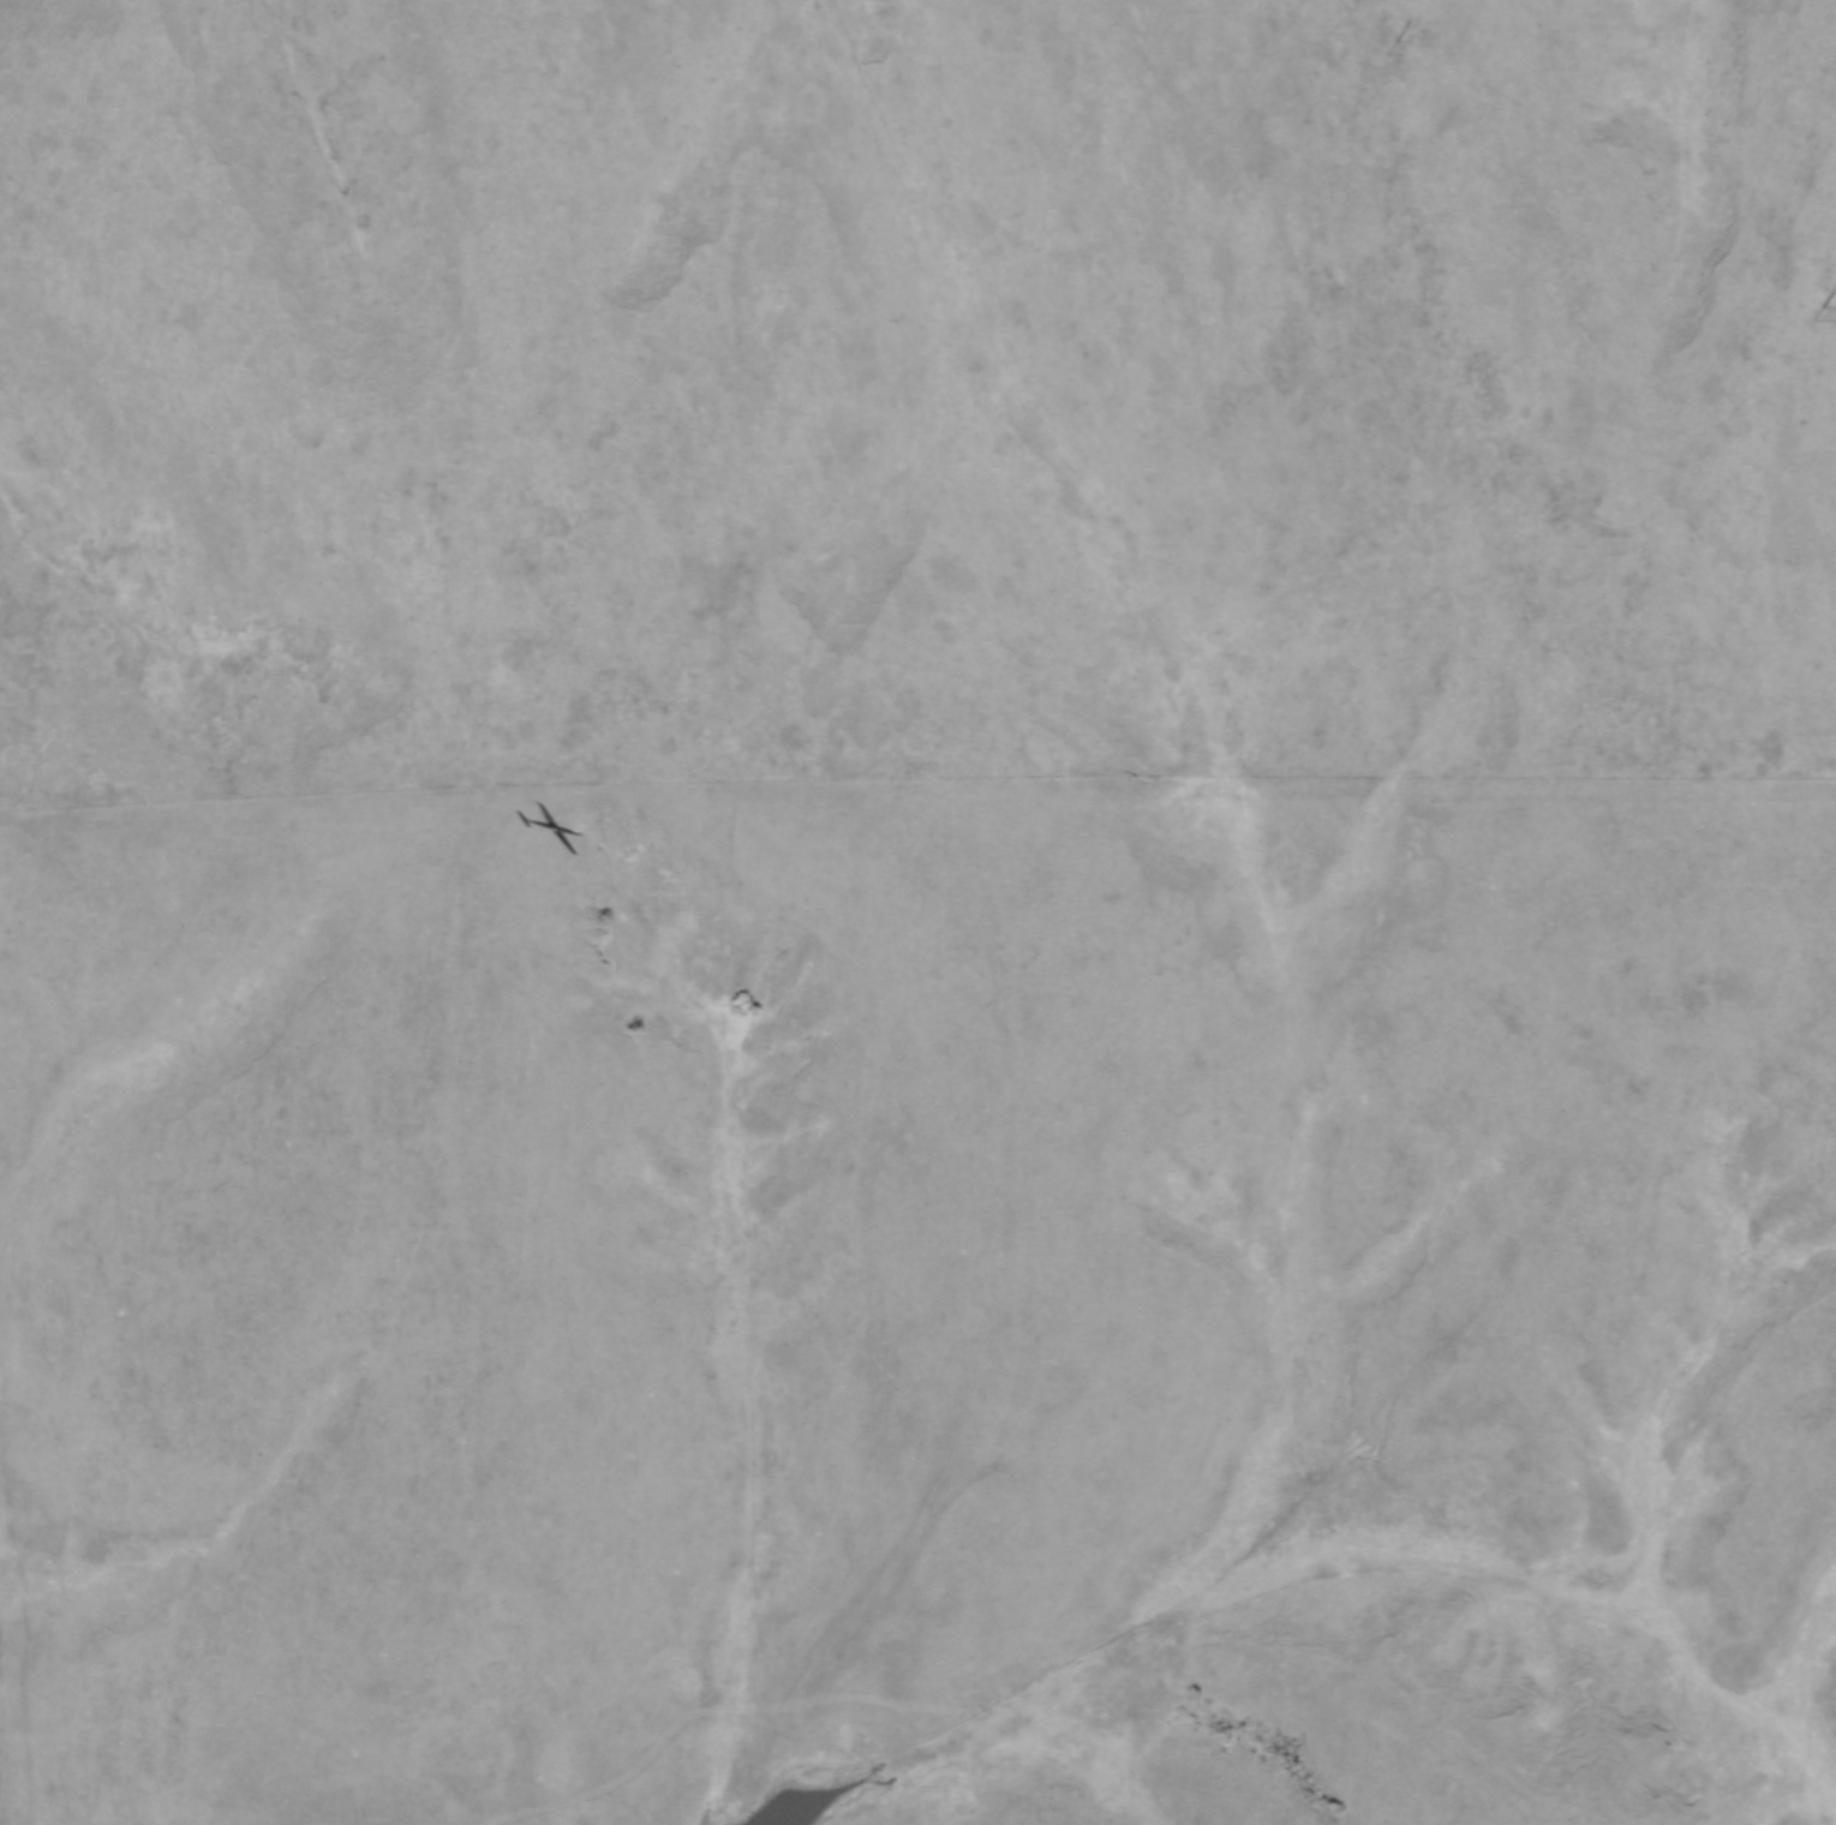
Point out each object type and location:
power tower: (1389, 52)
power tower: (1814, 321)

